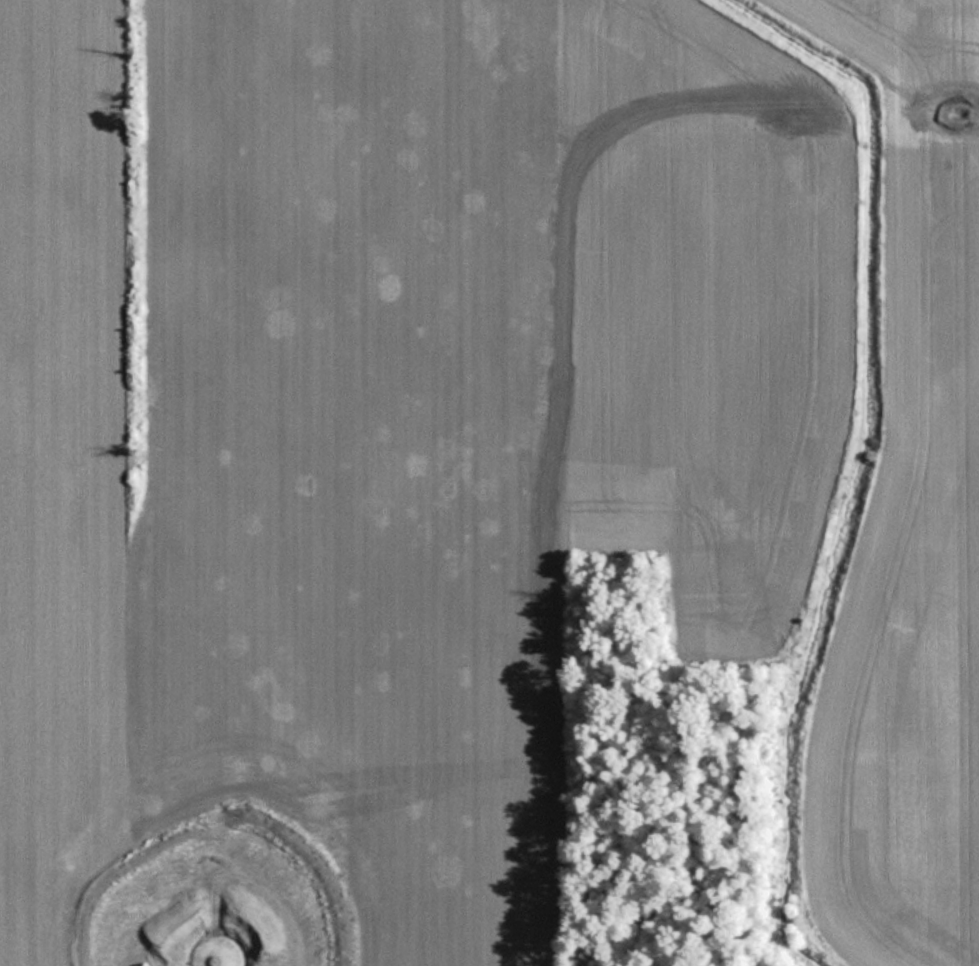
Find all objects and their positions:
wind turbine: (218, 962)

